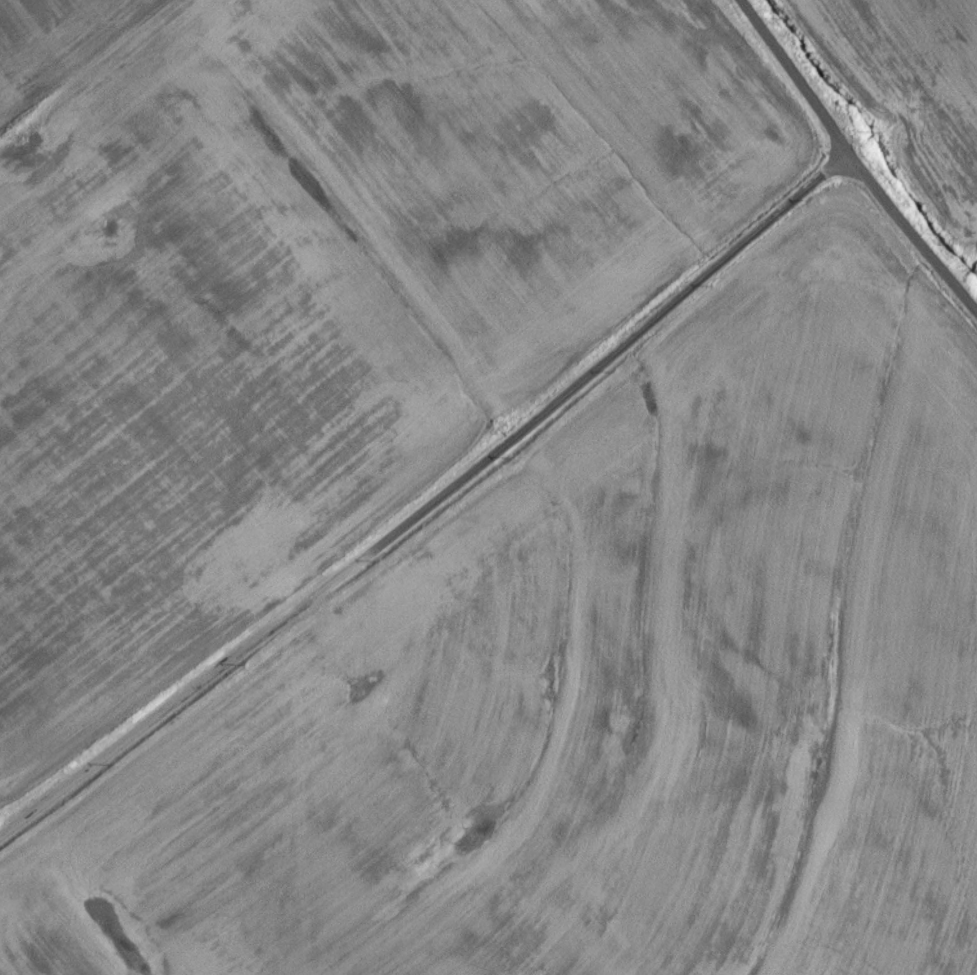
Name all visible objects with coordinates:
road: (848, 160)
road: (431, 508)

